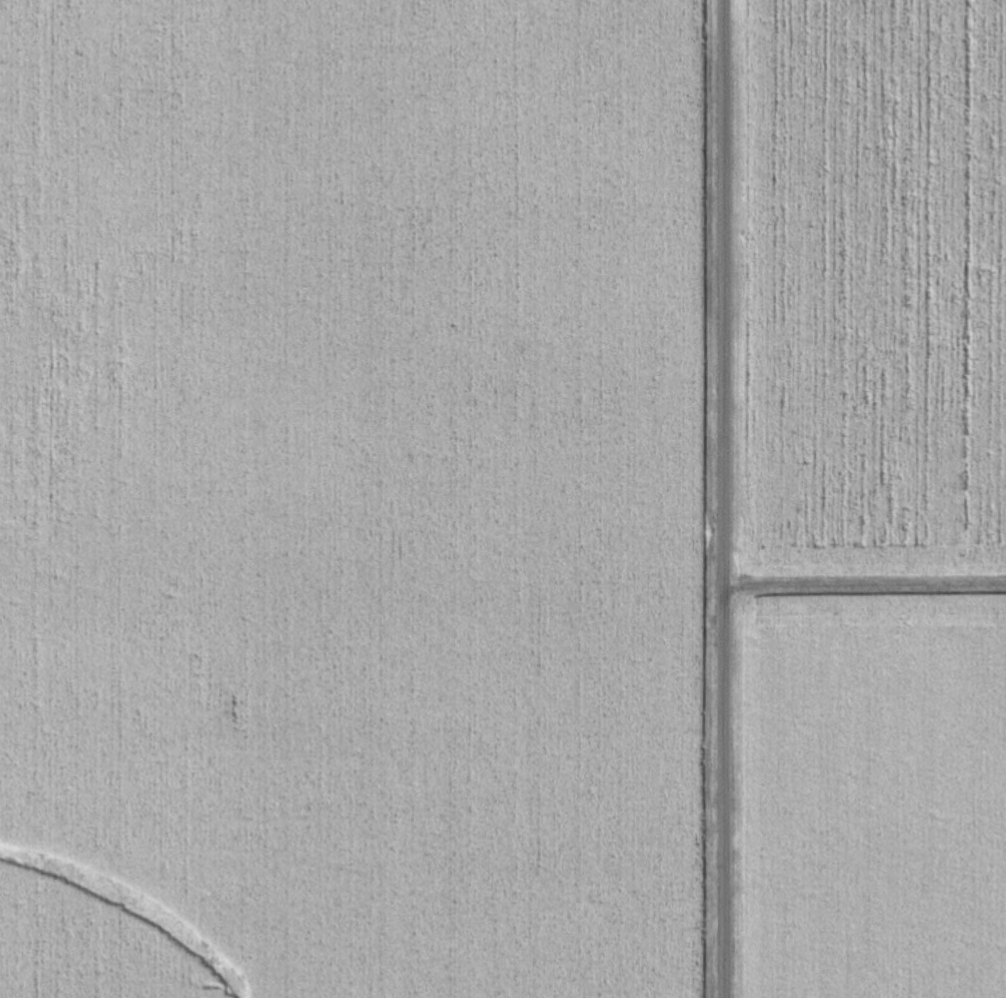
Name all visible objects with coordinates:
road: (710, 499)

